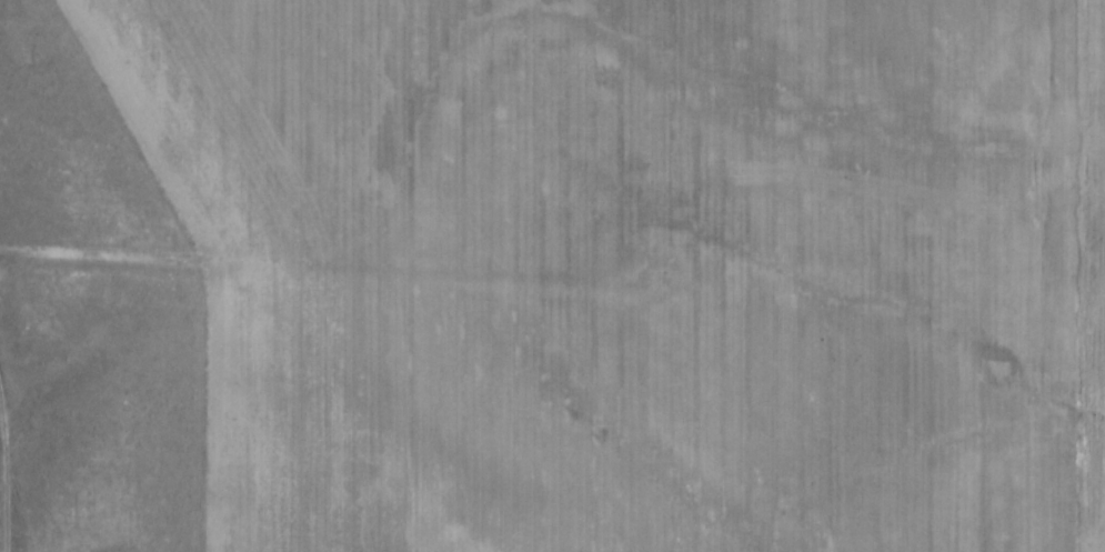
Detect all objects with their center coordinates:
crop: (637, 268)

